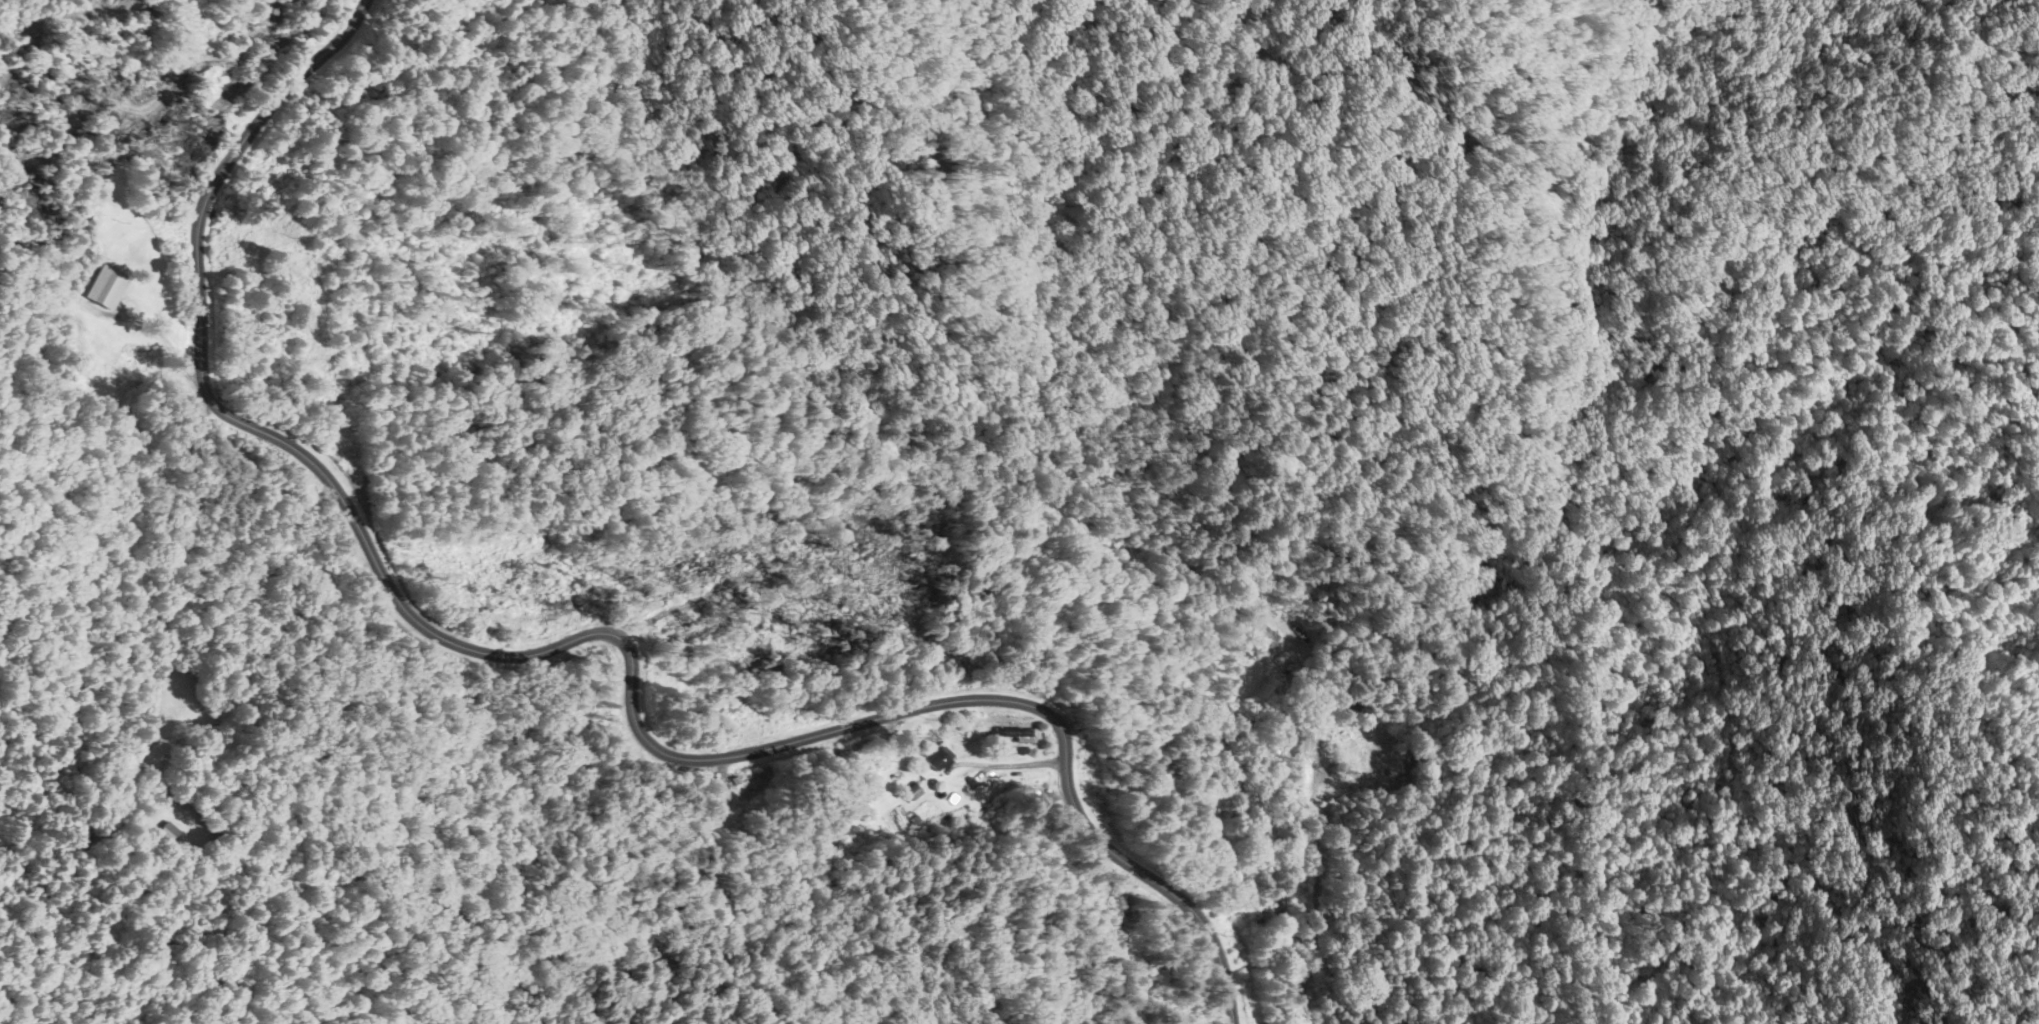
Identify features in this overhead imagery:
building: (100, 289)
building: (1262, 638)
road: (564, 647)
building: (1013, 733)
building: (939, 759)
building: (912, 792)
building: (841, 814)

